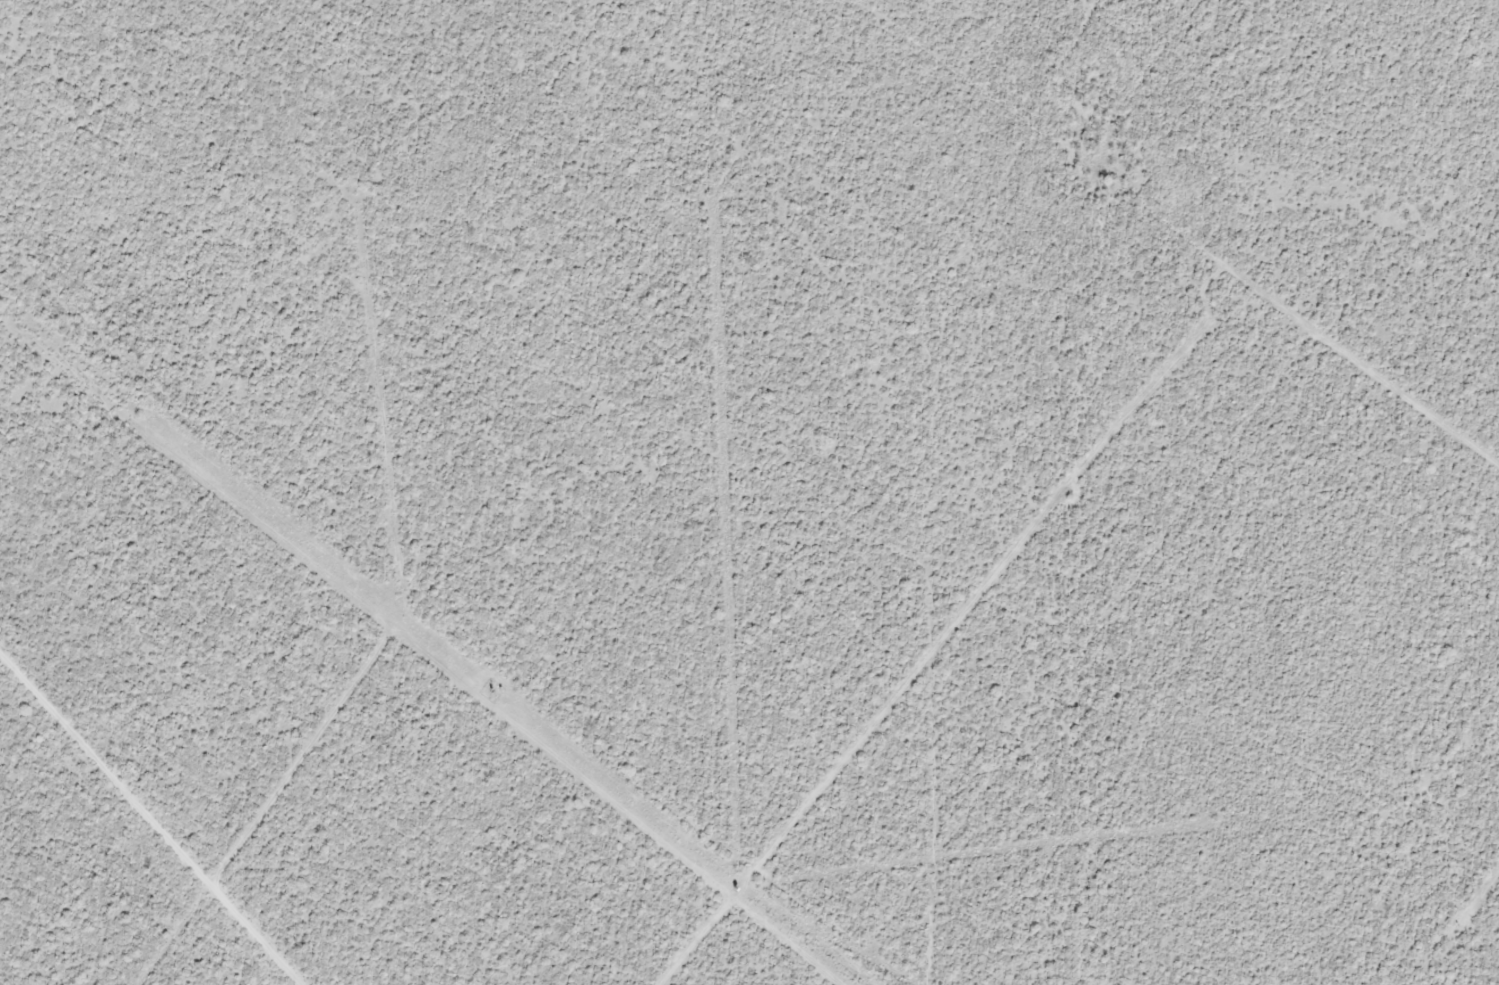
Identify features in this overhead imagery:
road: (957, 809)

